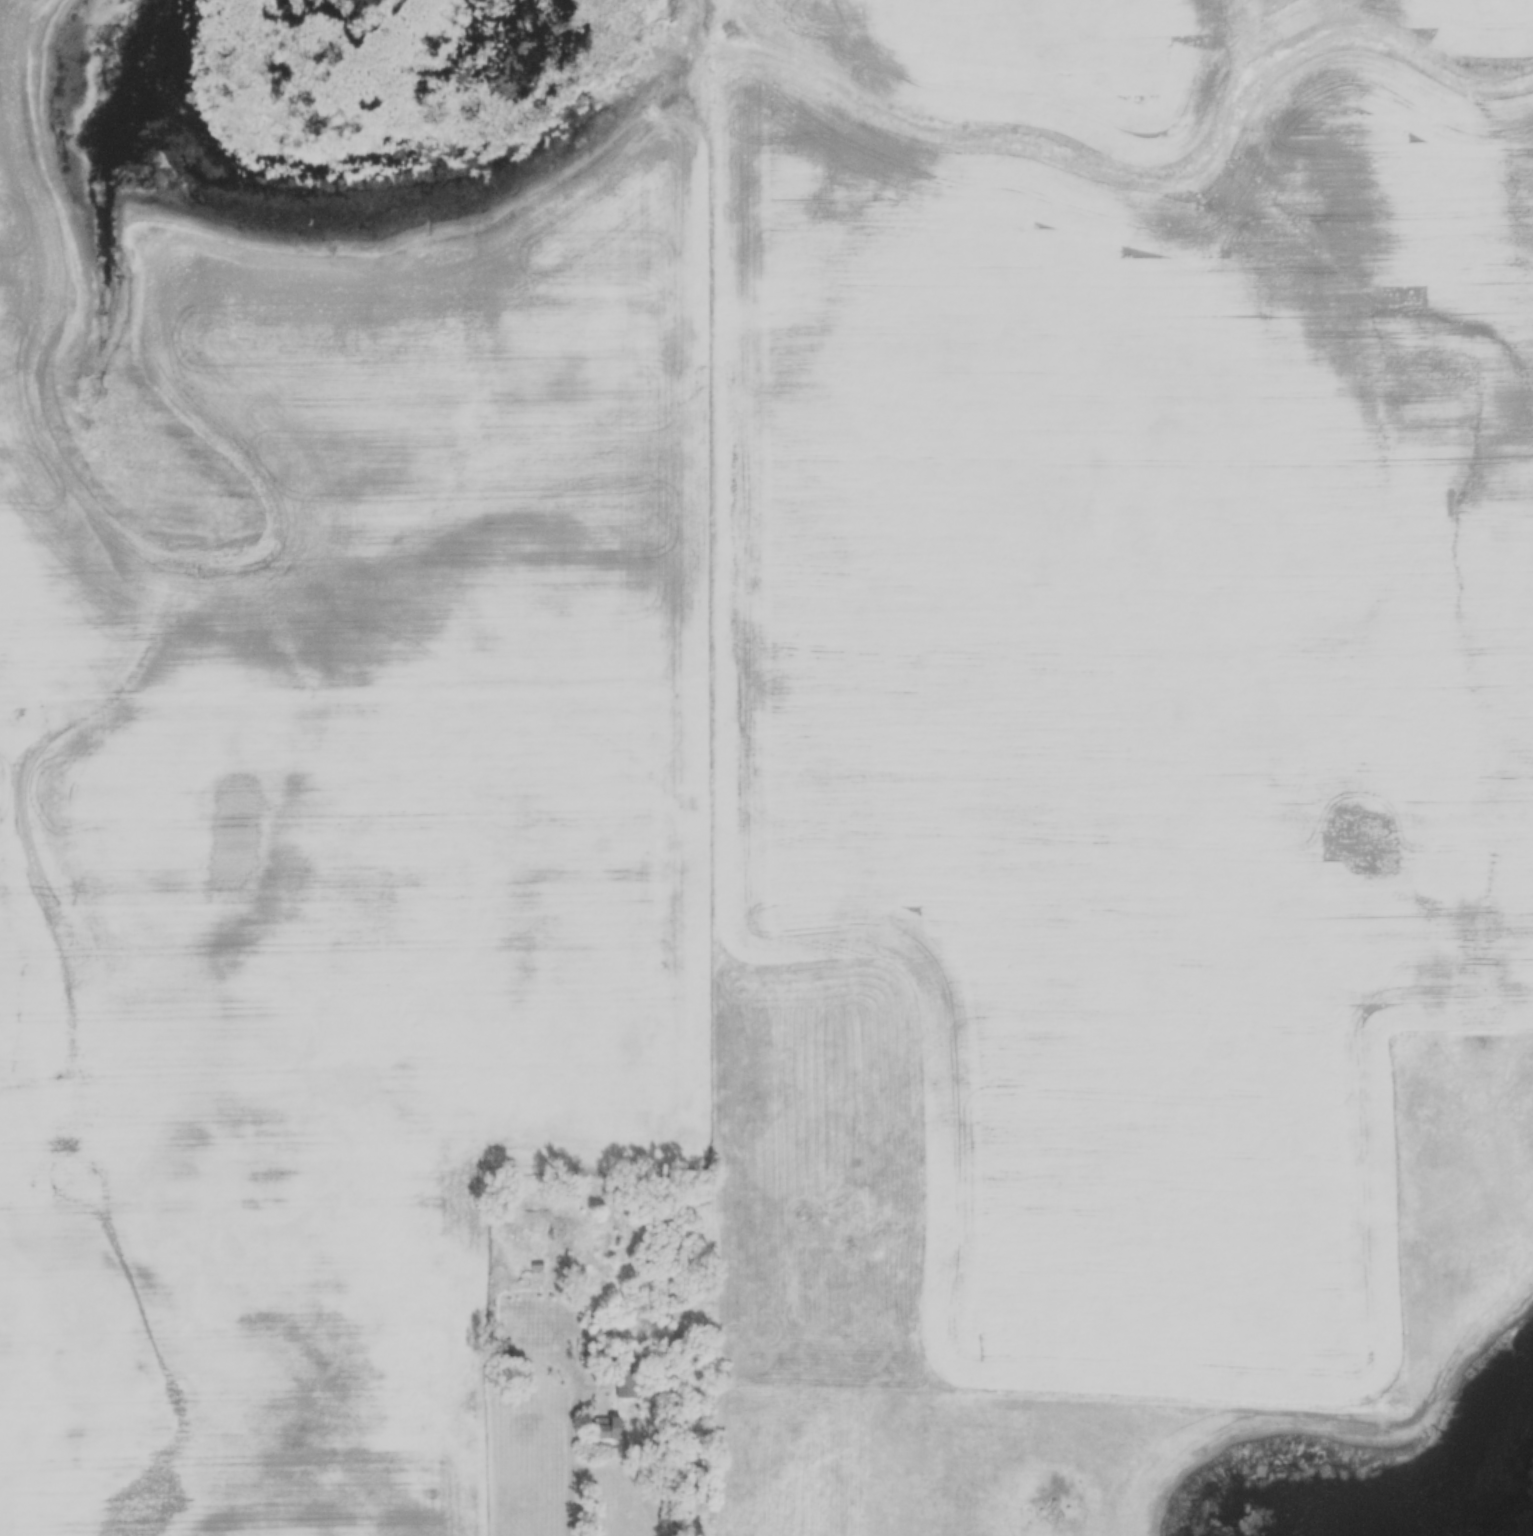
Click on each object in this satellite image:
building: (626, 1385)
building: (608, 1429)
road: (564, 1459)

